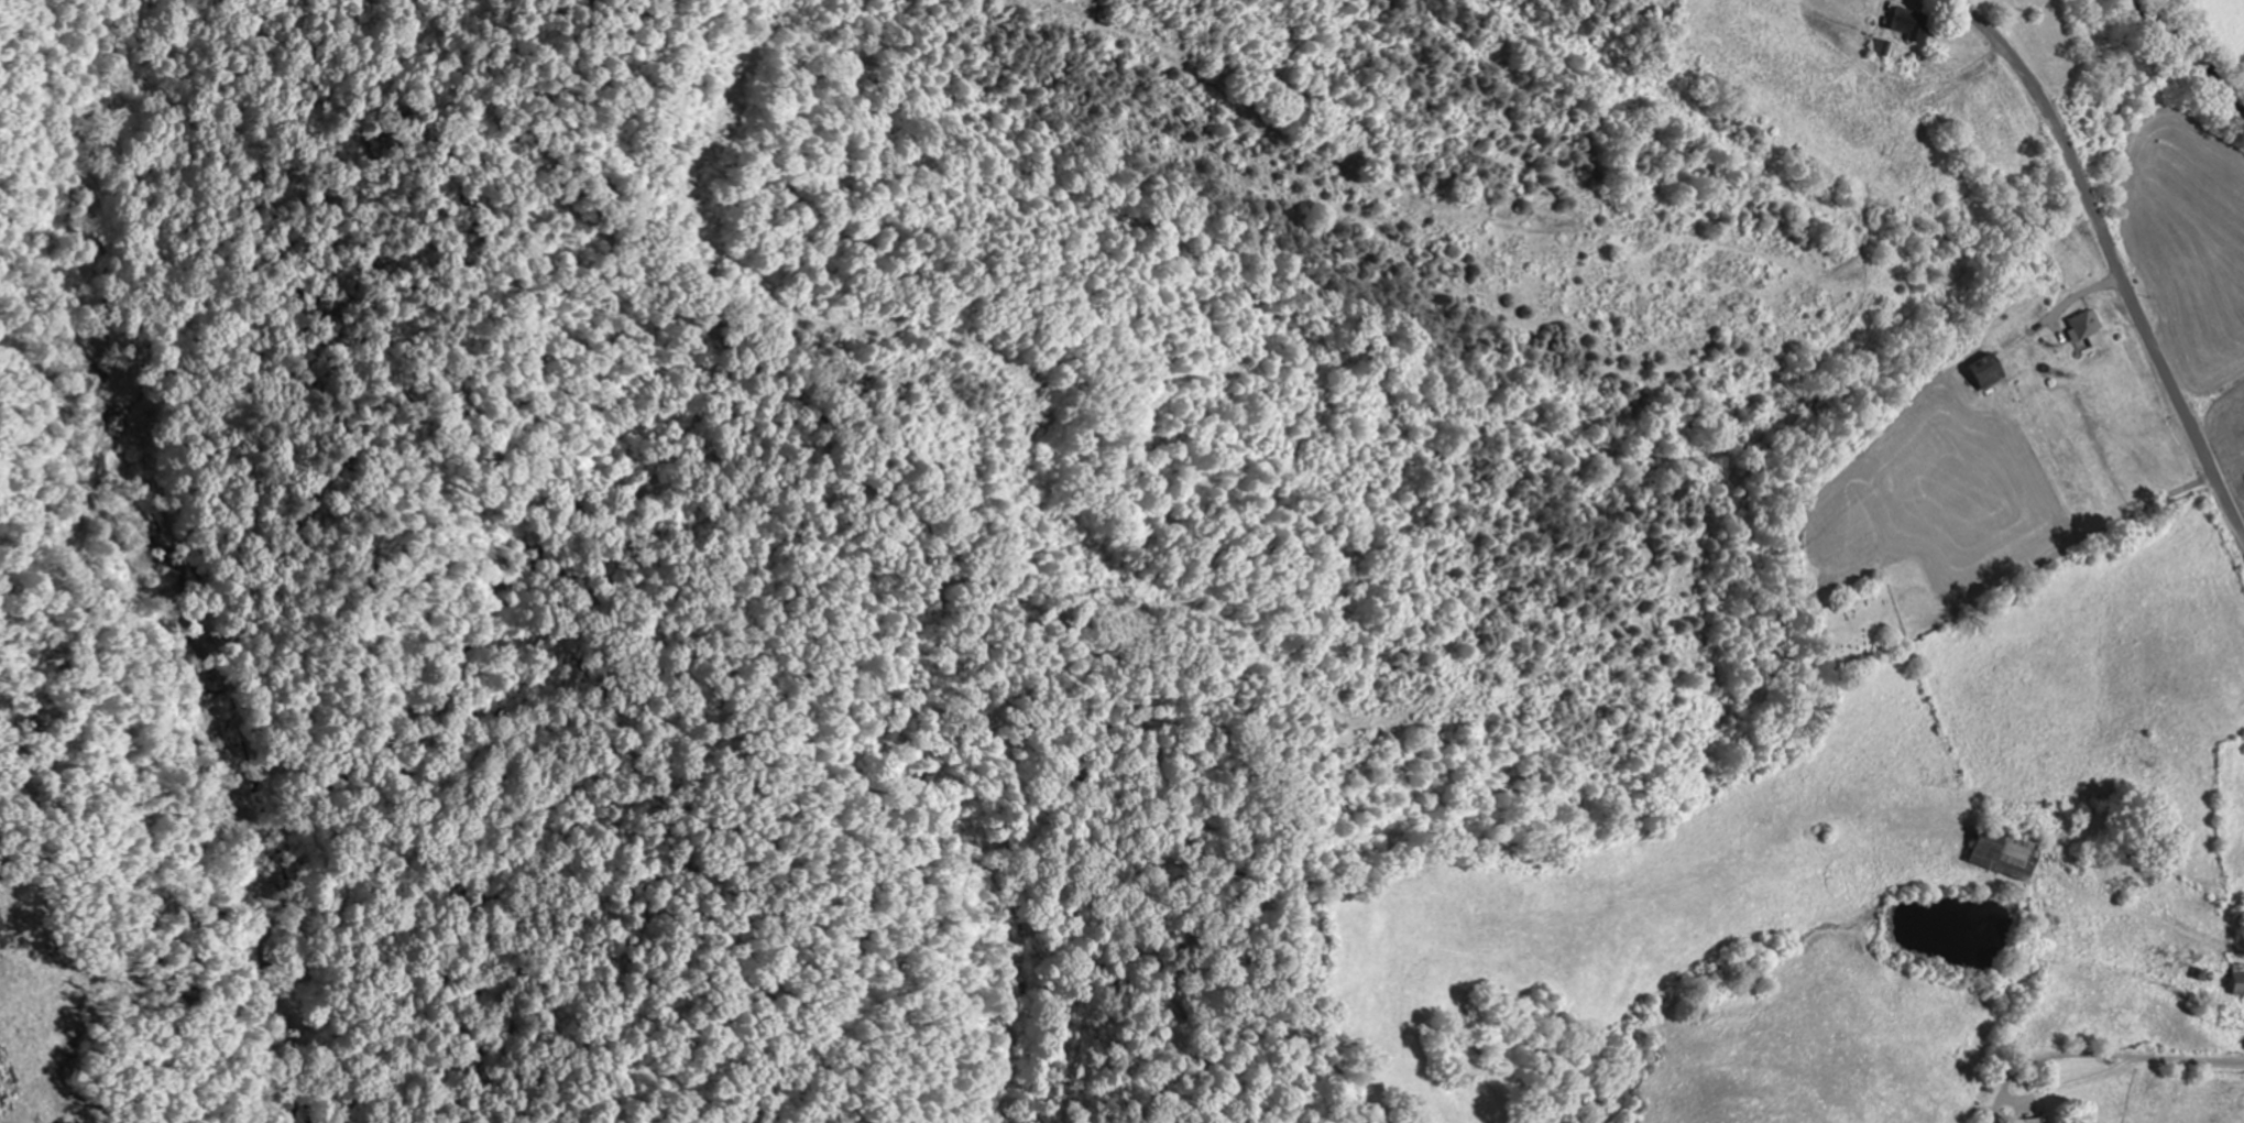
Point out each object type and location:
building: (1906, 26)
river: (2180, 58)
road: (2114, 258)
building: (2083, 329)
building: (1982, 373)
building: (1997, 855)
building: (2236, 981)
building: (2029, 1122)

